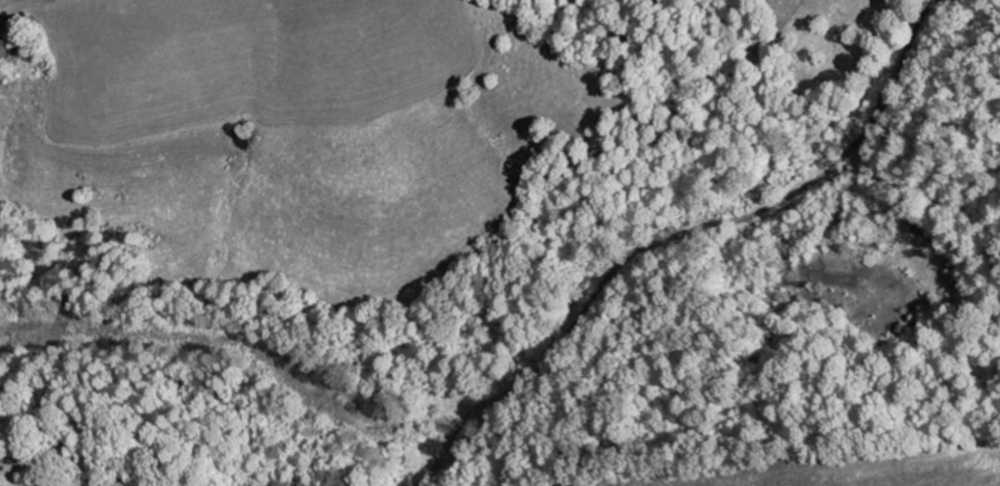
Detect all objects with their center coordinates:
building: (30, 456)

